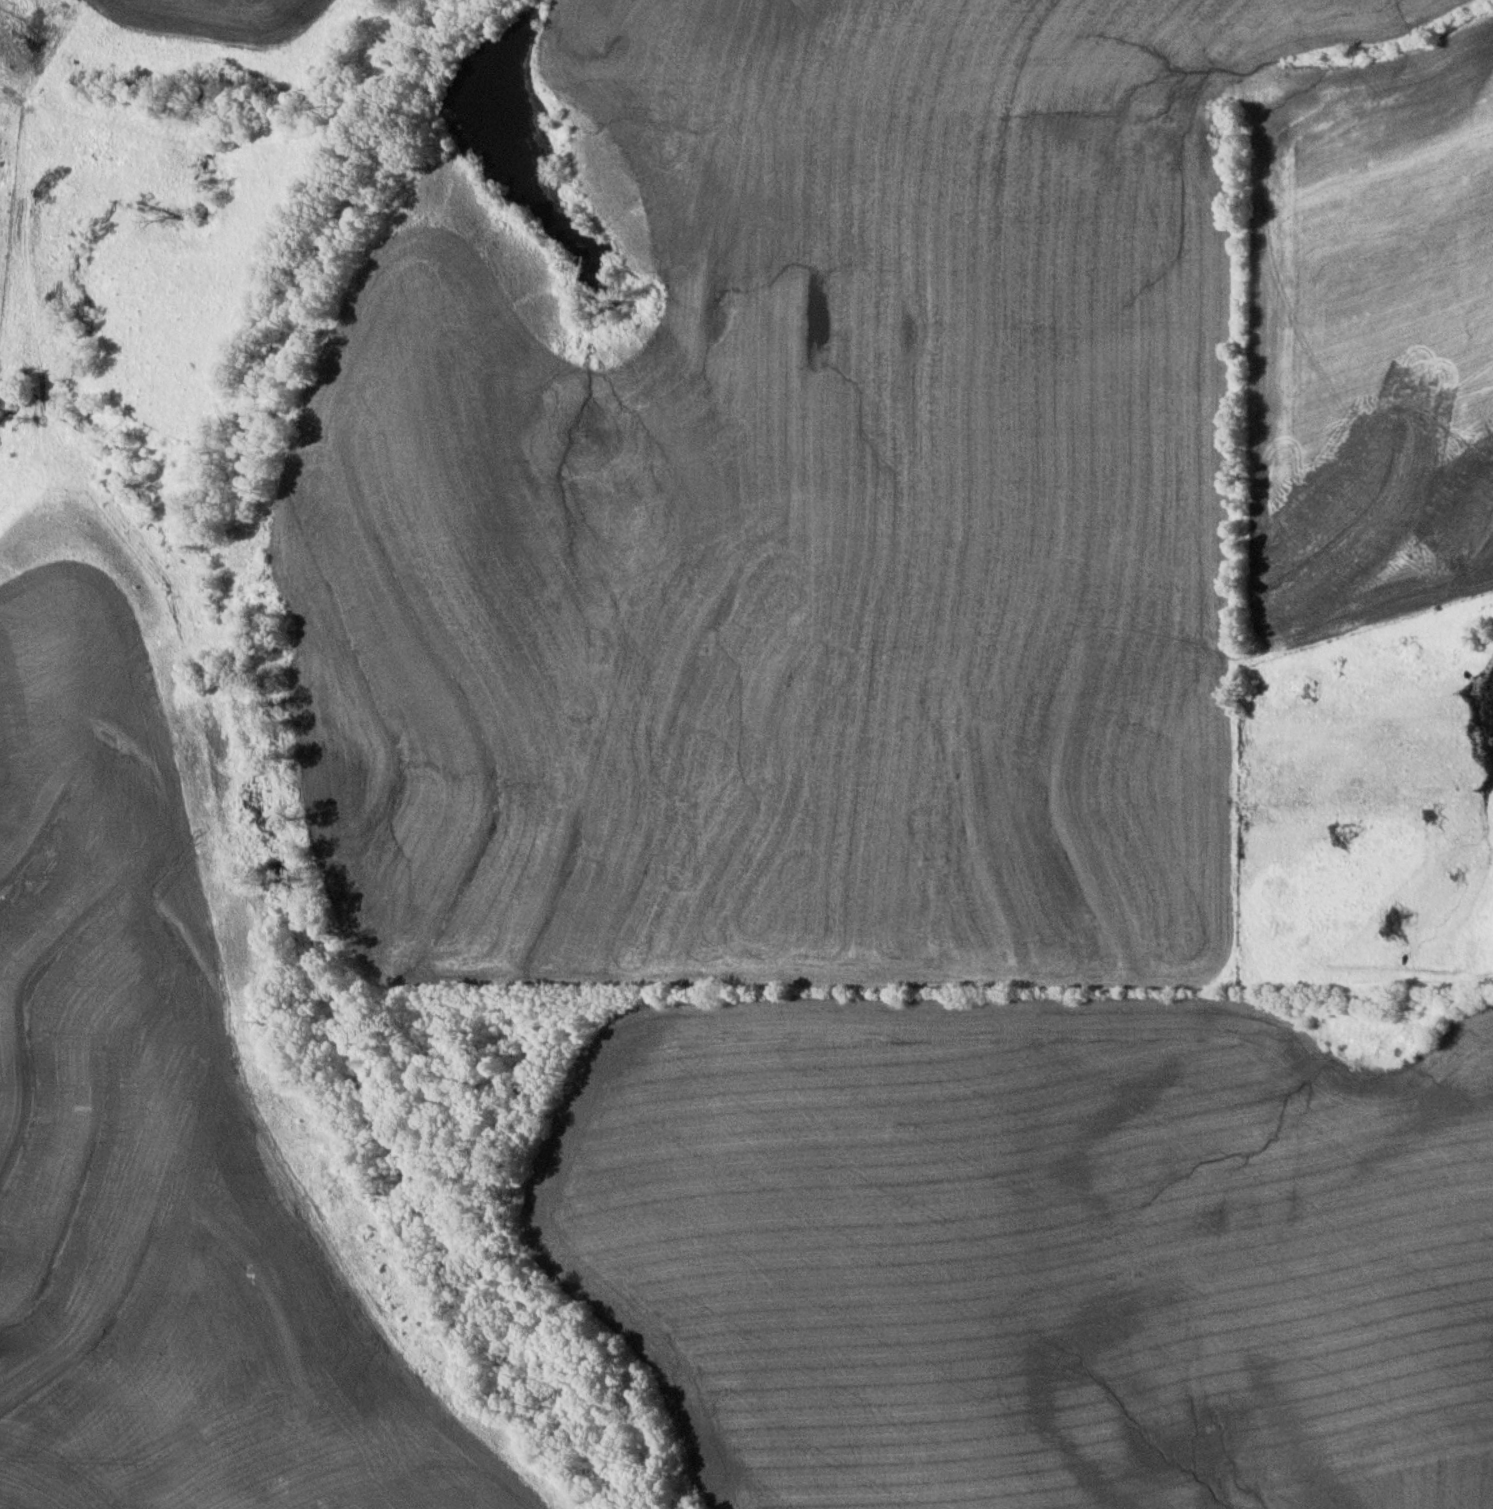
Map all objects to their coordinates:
crop: (217, 17)
crop: (154, 1150)
crop: (1032, 1249)

